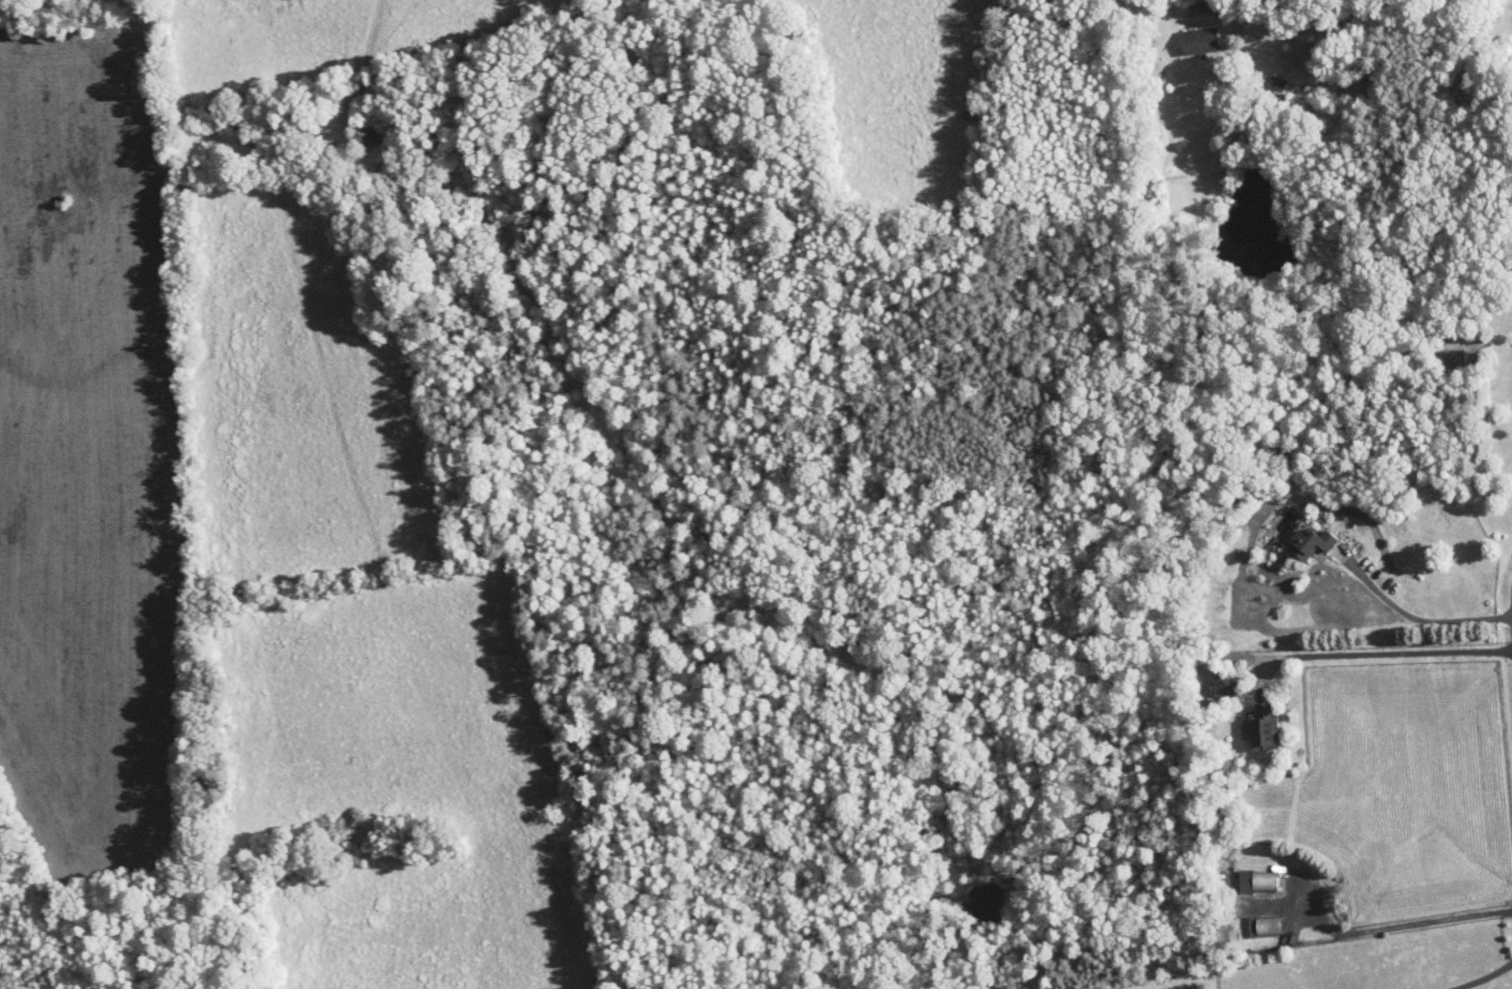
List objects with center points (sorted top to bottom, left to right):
road: (1296, 14)
building: (1186, 33)
building: (1264, 76)
building: (1441, 350)
building: (1294, 535)
road: (1508, 602)
road: (1409, 614)
road: (1386, 652)
building: (1250, 721)
building: (1245, 874)
road: (1401, 924)
road: (1483, 977)

